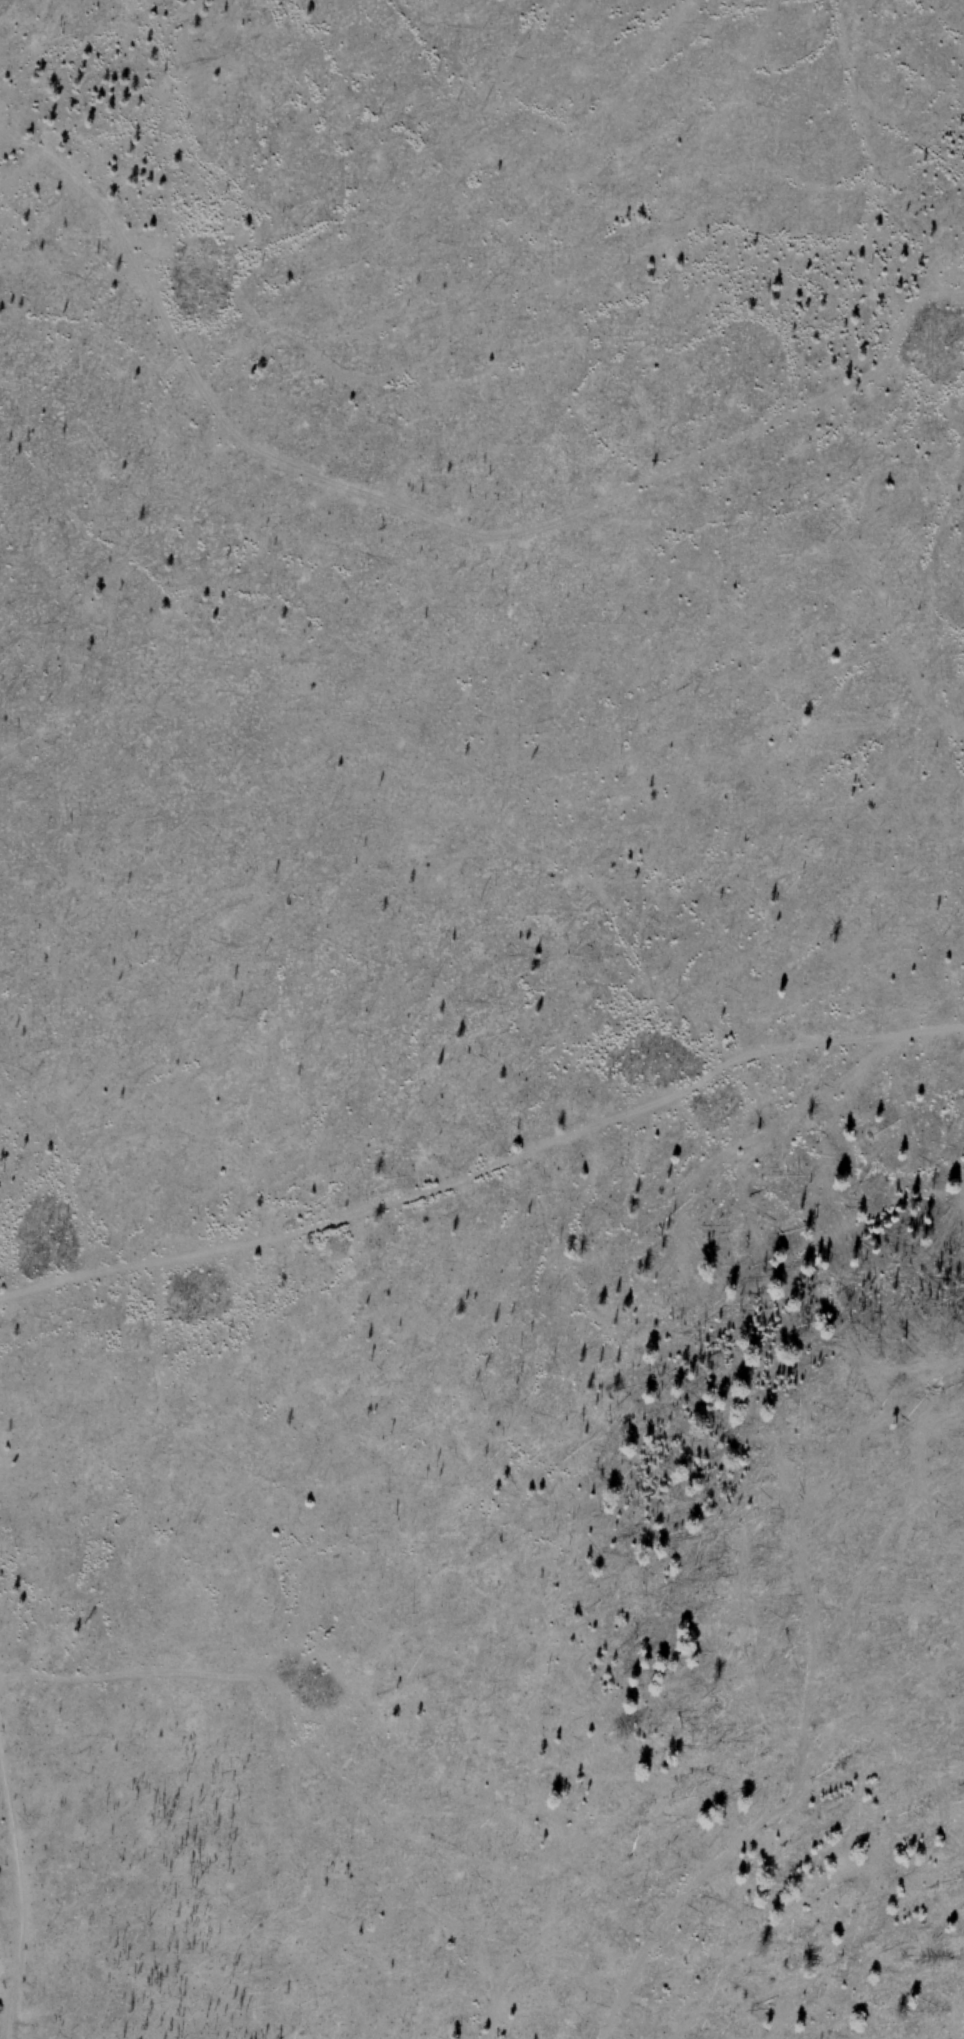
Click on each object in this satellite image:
road: (433, 523)
road: (486, 1168)
road: (12, 1911)

